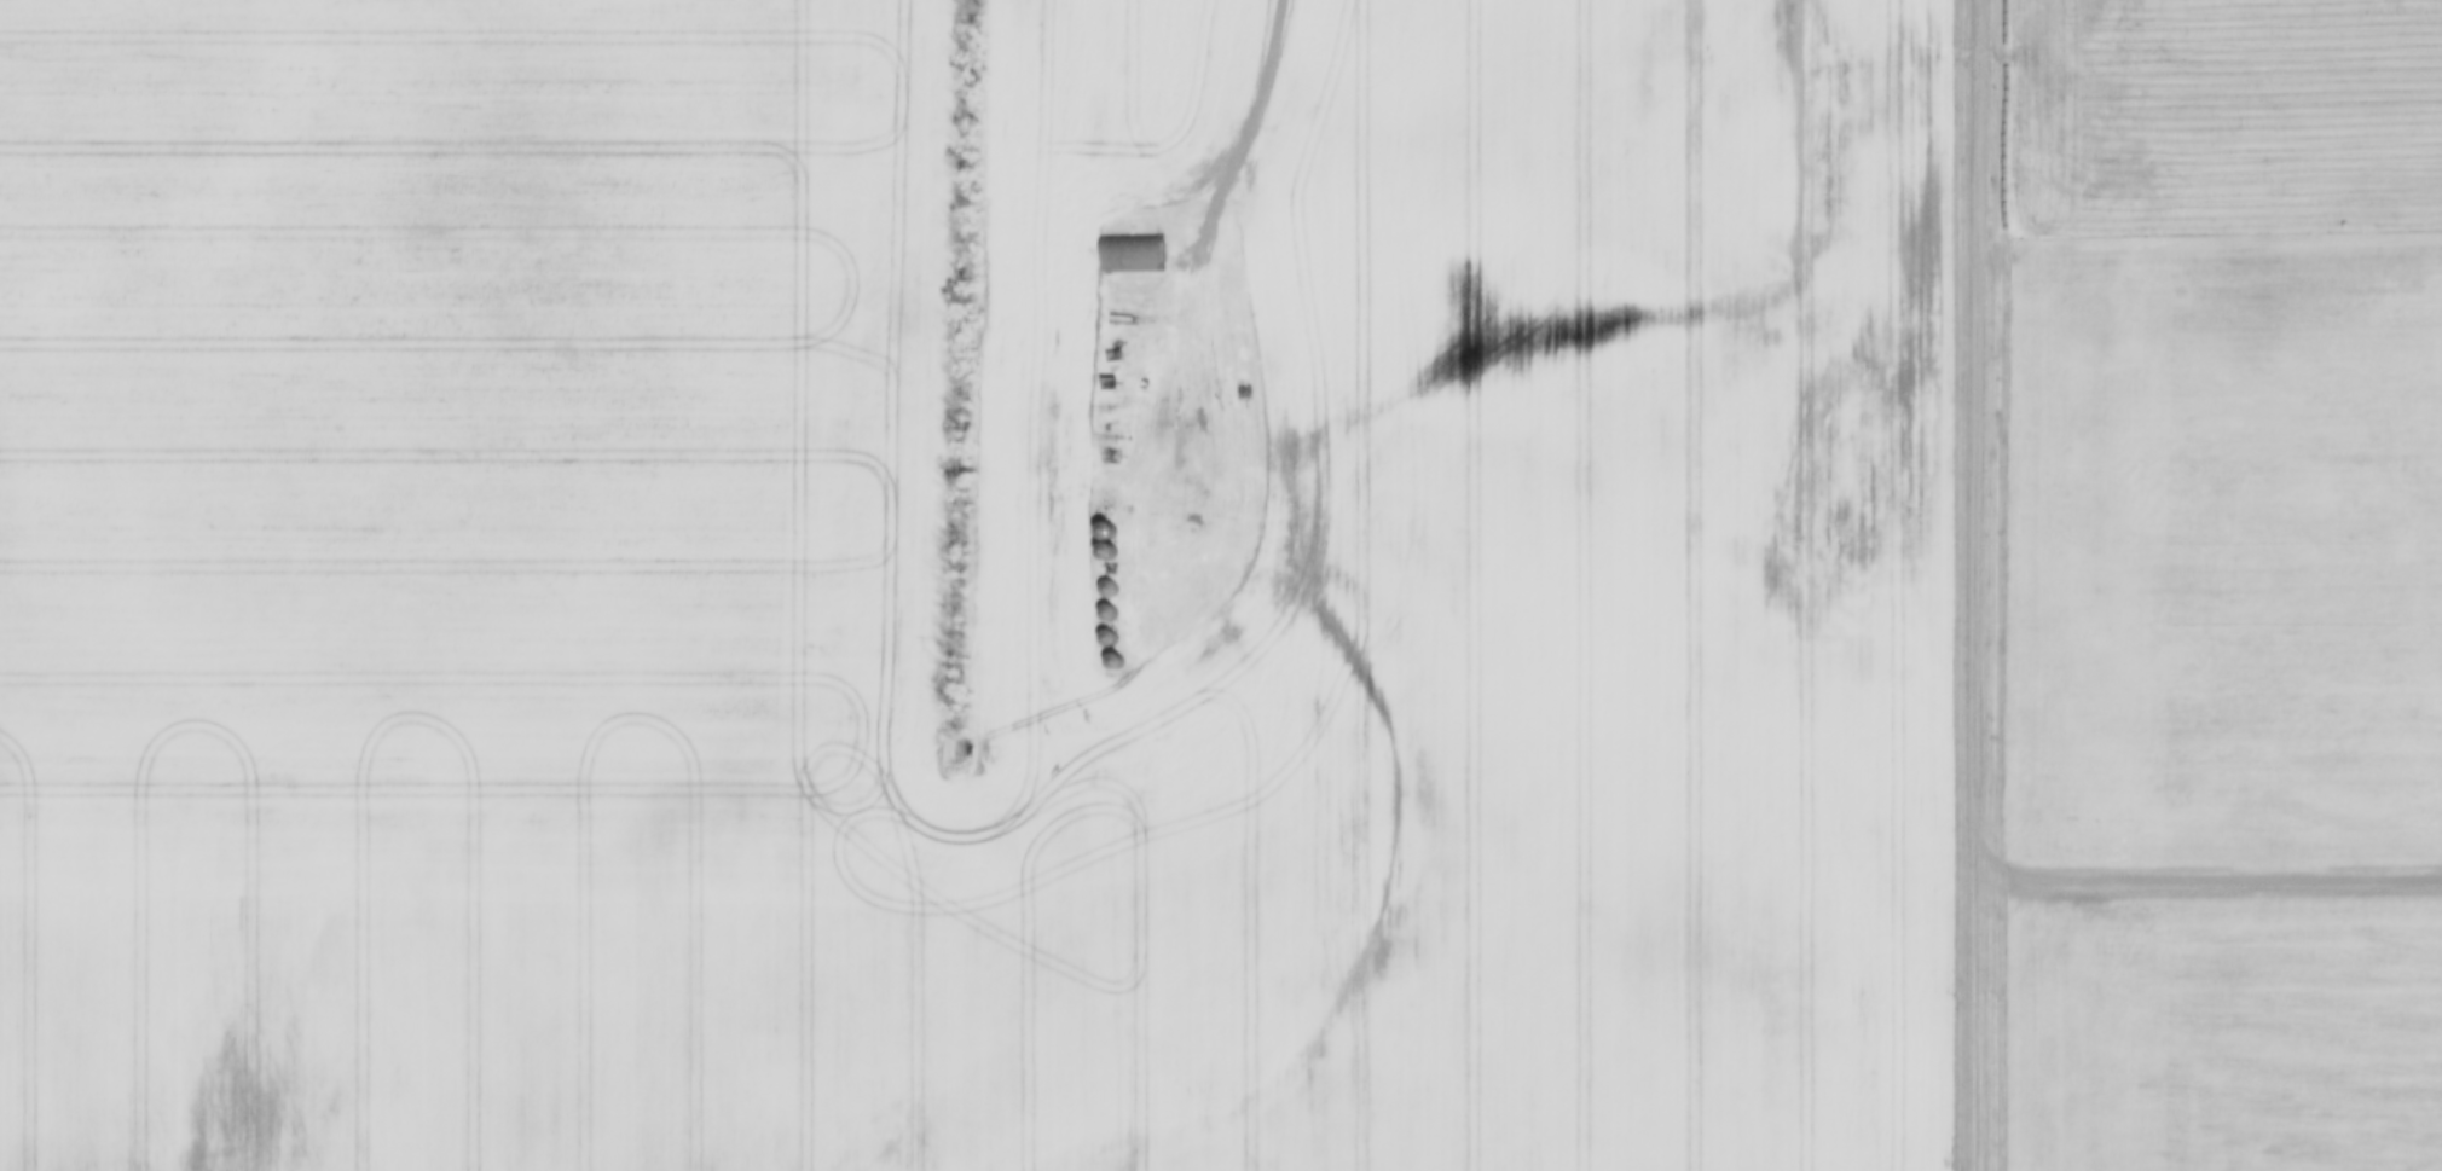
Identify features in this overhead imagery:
road: (1255, 121)
building: (1128, 251)
building: (1106, 529)
building: (1107, 586)
road: (1983, 671)

